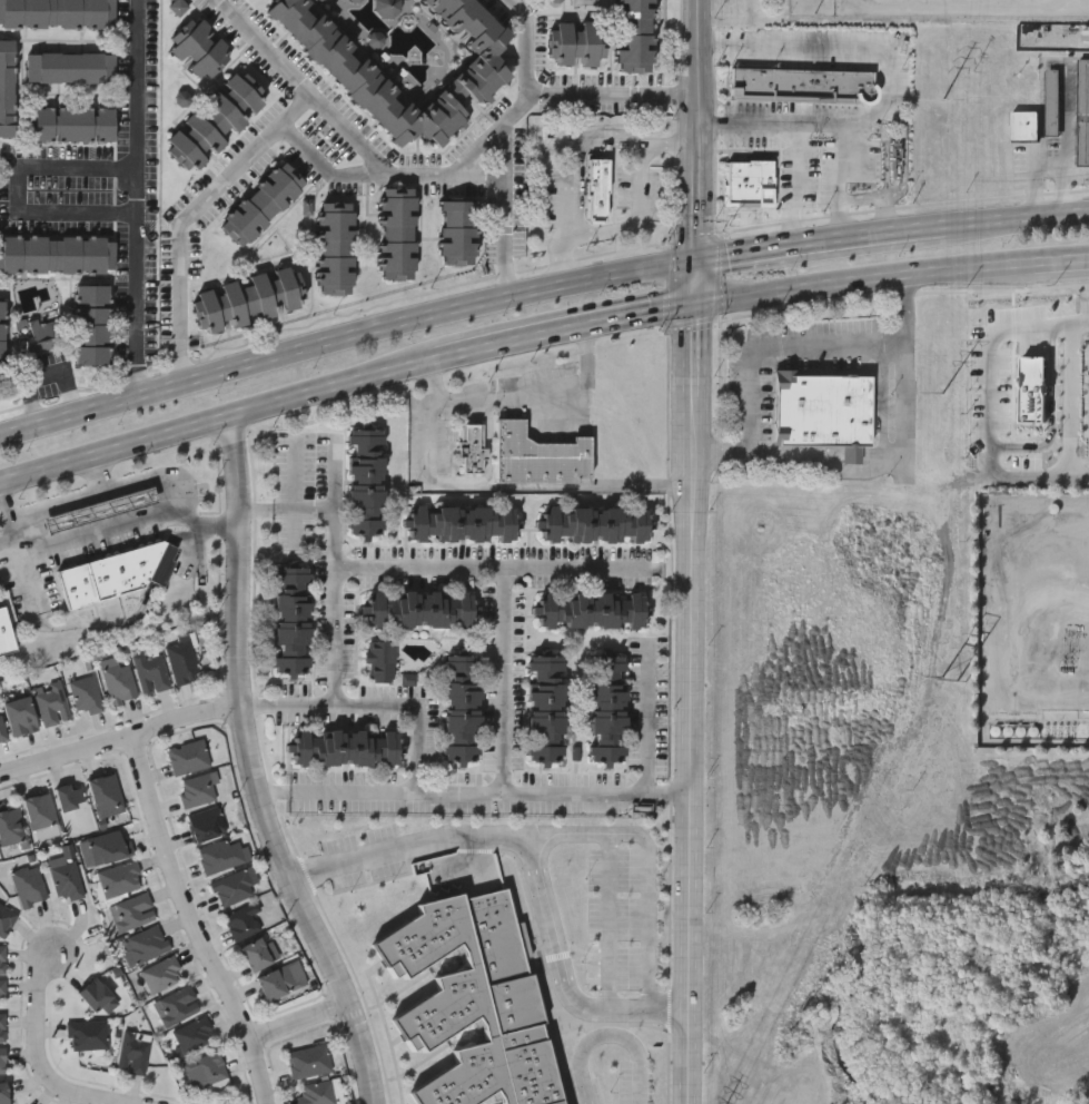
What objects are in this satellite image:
power substation: (942, 10)
building: (56, 13)
building: (633, 34)
building: (575, 42)
building: (199, 48)
building: (69, 67)
road: (891, 80)
building: (363, 83)
building: (801, 85)
building: (6, 87)
road: (612, 100)
power tower: (941, 101)
building: (1052, 101)
building: (1085, 110)
building: (211, 121)
building: (73, 124)
building: (1026, 125)
road: (695, 129)
road: (350, 139)
road: (509, 140)
road: (903, 145)
road: (572, 149)
road: (885, 156)
building: (894, 158)
road: (325, 166)
road: (841, 181)
building: (748, 184)
road: (795, 185)
road: (19, 187)
building: (601, 196)
road: (133, 197)
building: (260, 203)
road: (192, 216)
road: (636, 219)
road: (887, 220)
road: (1018, 221)
building: (396, 231)
building: (456, 231)
road: (820, 244)
building: (334, 246)
building: (56, 255)
traffic signals: (693, 260)
road: (692, 279)
road: (890, 280)
building: (246, 298)
traffic signals: (692, 298)
building: (91, 324)
road: (560, 328)
road: (988, 332)
building: (38, 334)
road: (343, 335)
building: (1, 342)
road: (773, 346)
road: (506, 368)
road: (537, 392)
power tower: (939, 394)
road: (1078, 402)
building: (822, 411)
road: (214, 417)
building: (471, 447)
building: (537, 455)
road: (883, 466)
road: (146, 480)
building: (364, 483)
road: (501, 487)
road: (72, 500)
road: (315, 509)
gas station: (102, 510)
building: (101, 512)
road: (7, 514)
building: (461, 523)
building: (595, 524)
road: (113, 525)
road: (499, 563)
building: (116, 575)
building: (419, 610)
building: (592, 610)
building: (290, 620)
road: (317, 621)
road: (65, 624)
road: (335, 634)
building: (6, 635)
building: (180, 661)
building: (378, 661)
road: (482, 670)
building: (149, 671)
road: (507, 679)
power tower: (949, 679)
building: (117, 680)
building: (85, 696)
road: (691, 701)
road: (372, 702)
building: (50, 703)
building: (461, 708)
building: (543, 709)
building: (605, 710)
building: (20, 717)
building: (1, 731)
road: (118, 733)
building: (345, 748)
road: (640, 756)
building: (187, 758)
road: (395, 759)
road: (251, 769)
building: (197, 790)
building: (103, 792)
road: (474, 796)
building: (69, 797)
building: (38, 811)
building: (205, 825)
building: (10, 827)
building: (108, 848)
road: (537, 852)
building: (221, 855)
building: (63, 878)
building: (119, 879)
road: (611, 884)
building: (28, 886)
building: (232, 886)
road: (646, 905)
building: (131, 913)
road: (195, 917)
building: (6, 919)
building: (241, 921)
building: (146, 945)
road: (336, 952)
building: (255, 955)
road: (671, 956)
building: (2, 959)
building: (160, 975)
building: (278, 982)
building: (2, 988)
building: (473, 1002)
building: (176, 1006)
road: (297, 1026)
building: (2, 1027)
road: (608, 1033)
building: (86, 1035)
building: (191, 1036)
road: (38, 1045)
building: (132, 1052)
building: (2, 1061)
building: (307, 1062)
building: (204, 1071)
building: (317, 1093)
building: (3, 1094)

